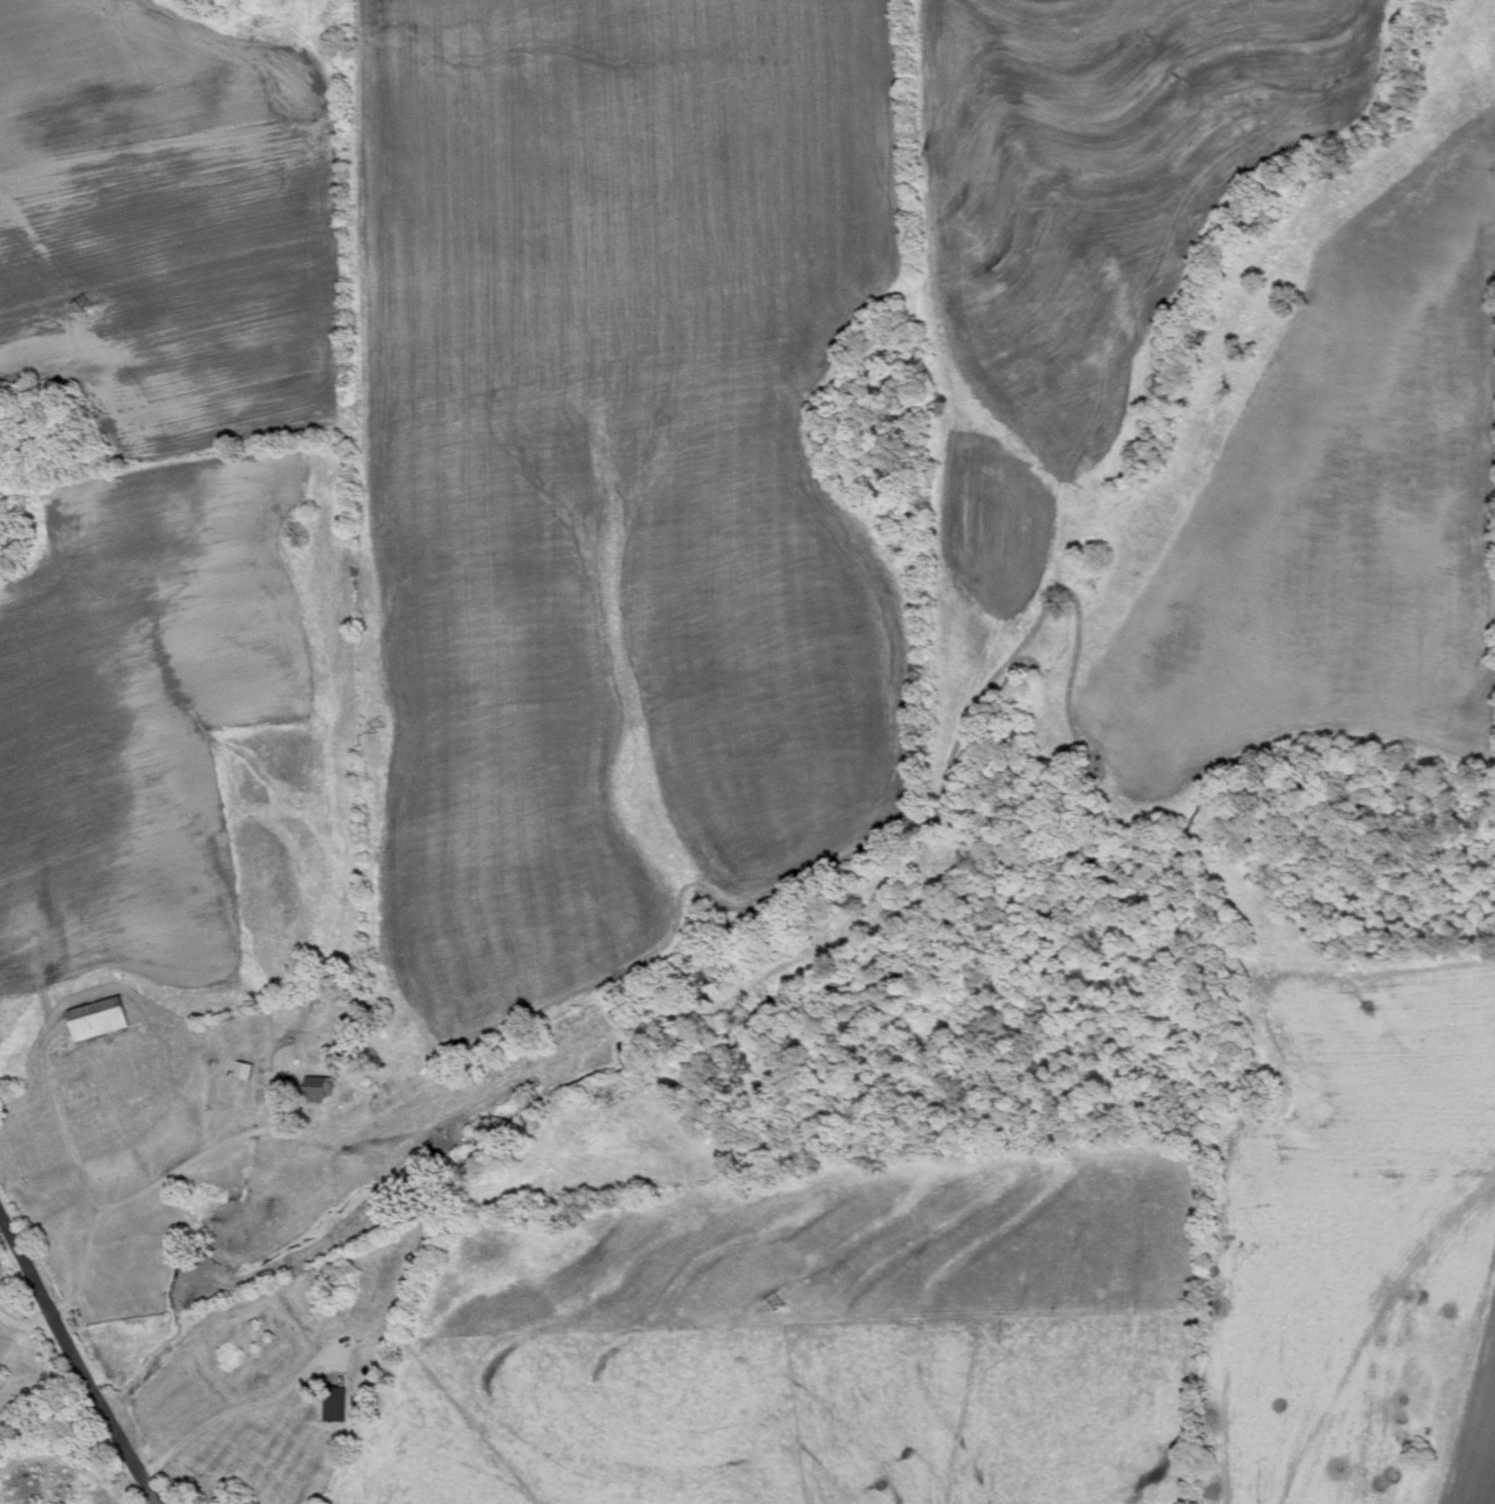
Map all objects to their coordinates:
building: (95, 1016)
building: (236, 1067)
road: (133, 1189)
road: (24, 1320)
road: (76, 1361)
building: (330, 1402)
road: (232, 1405)

